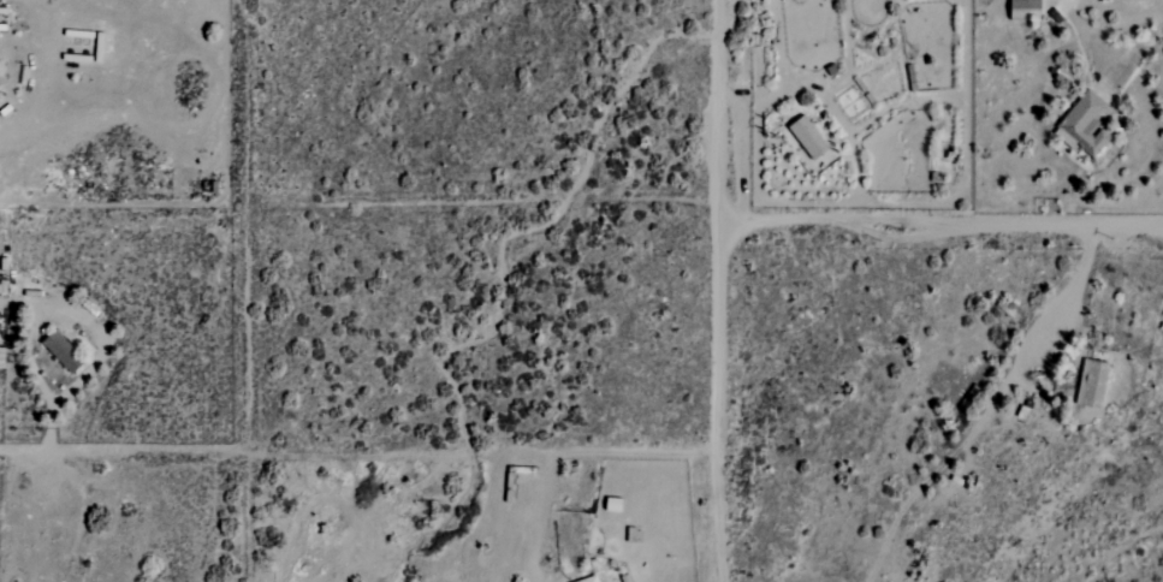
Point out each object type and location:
building: (1025, 8)
road: (1040, 69)
building: (1082, 126)
building: (807, 138)
road: (942, 222)
road: (719, 291)
road: (31, 329)
building: (61, 351)
building: (1092, 384)
road: (990, 409)
road: (46, 435)
building: (589, 580)

